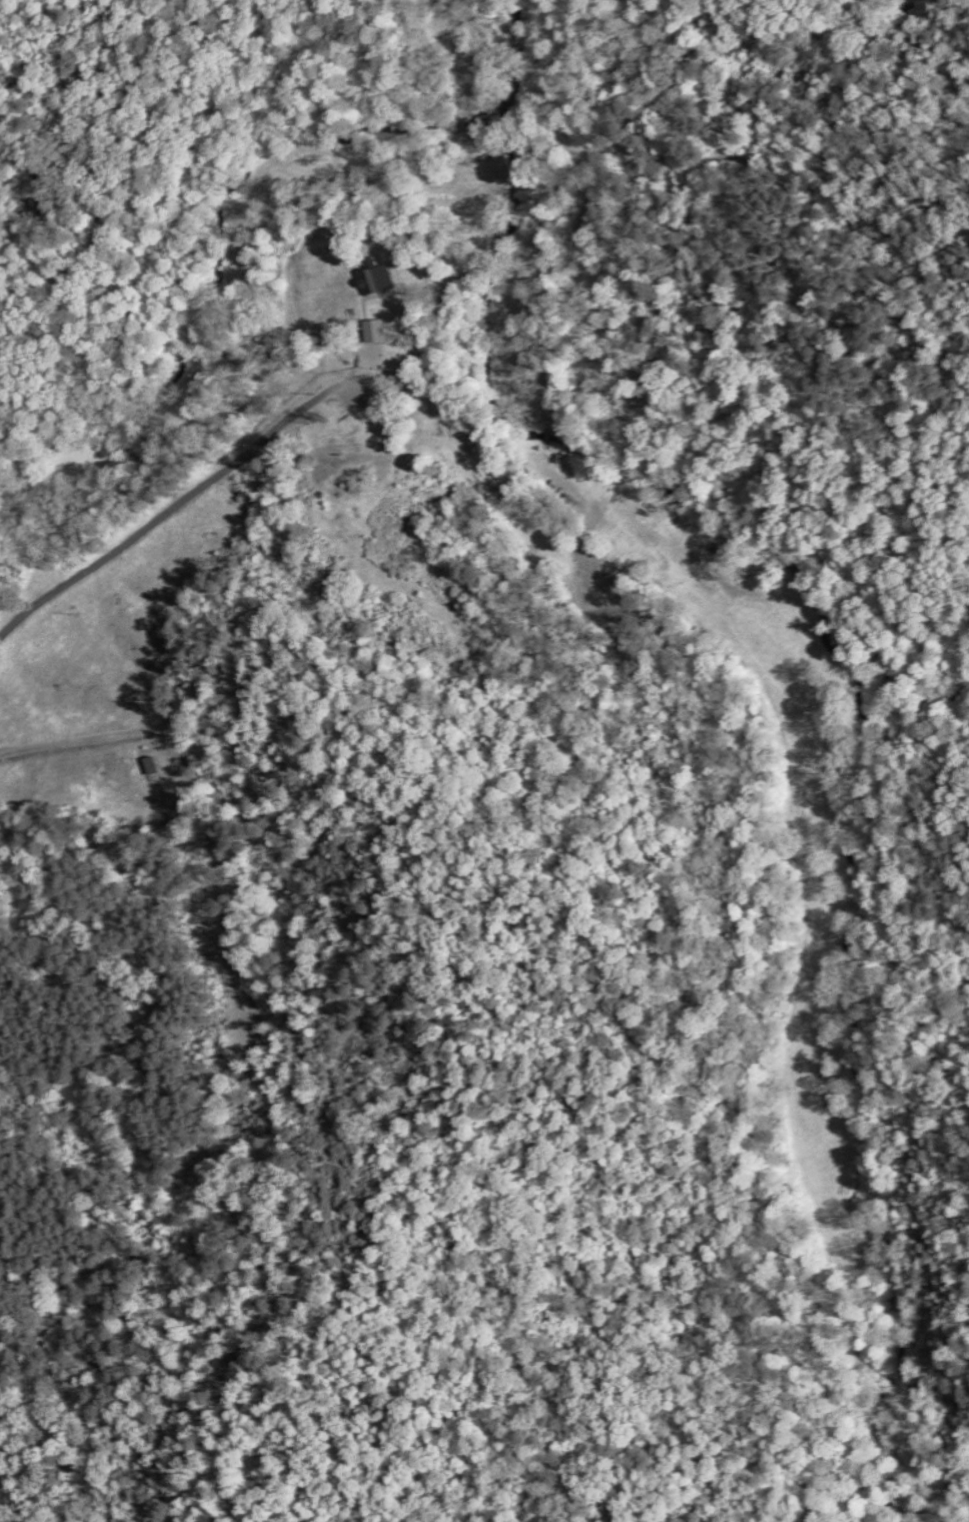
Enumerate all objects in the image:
building: (389, 280)
building: (385, 331)
road: (162, 520)
building: (159, 766)

